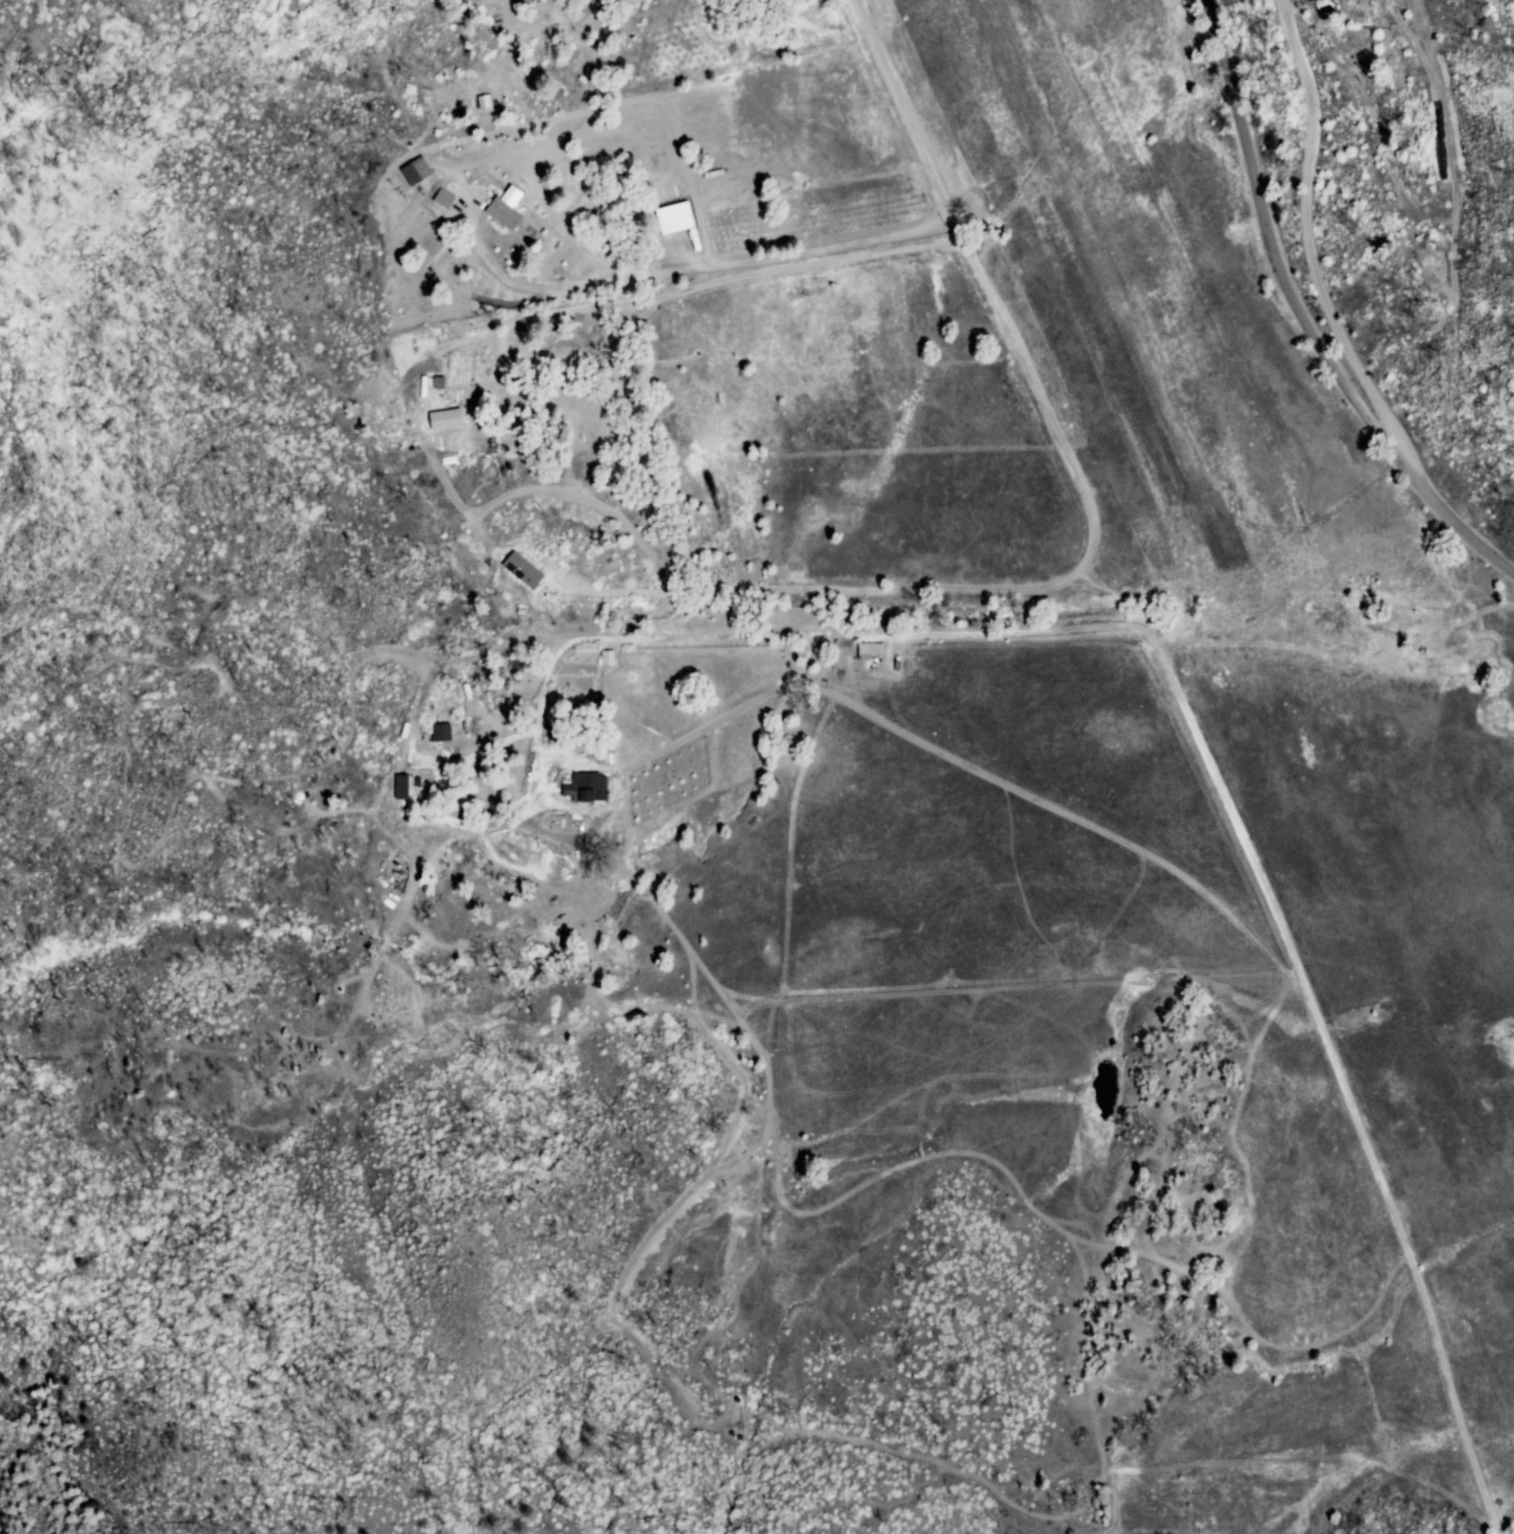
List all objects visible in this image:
building: (414, 171)
building: (504, 208)
building: (673, 218)
road: (1312, 261)
road: (699, 269)
airport runway: (1107, 278)
road: (1303, 318)
building: (521, 570)
road: (1017, 589)
building: (868, 650)
building: (605, 658)
building: (440, 732)
building: (405, 786)
road: (1264, 892)

